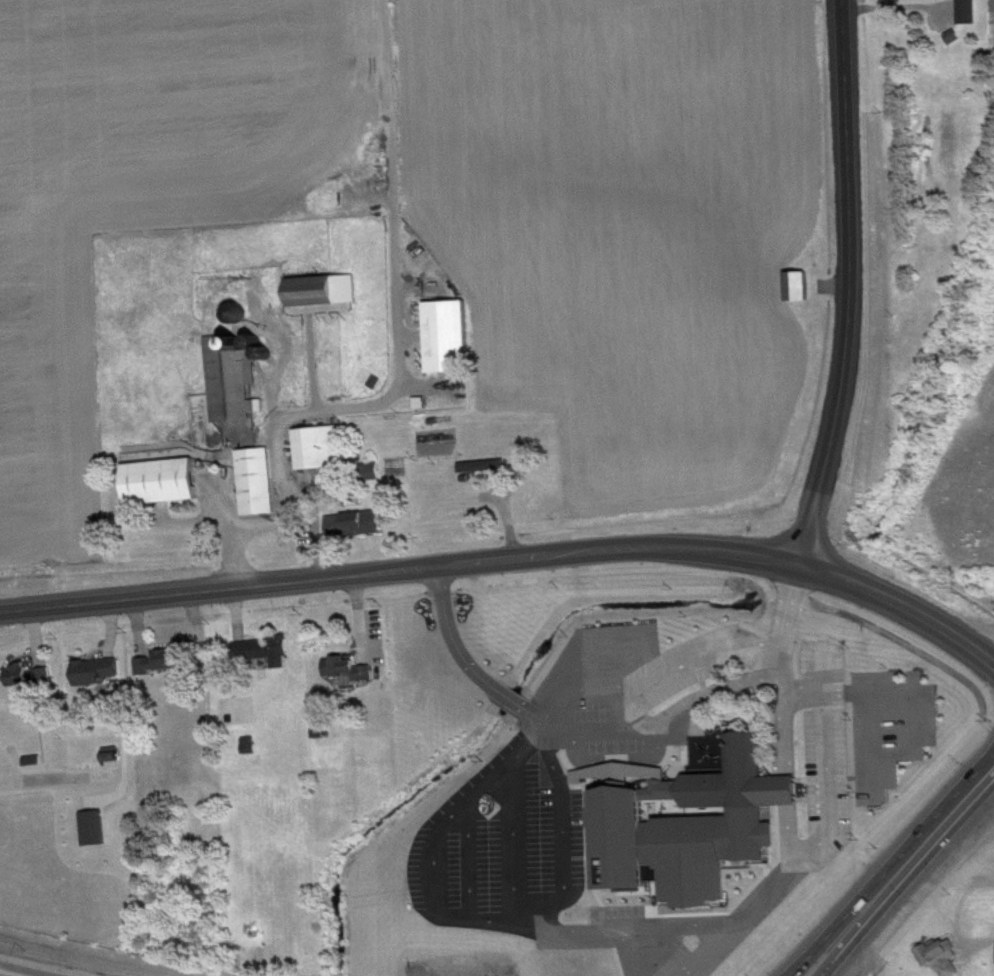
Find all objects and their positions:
building: (972, 13)
road: (853, 283)
building: (803, 288)
building: (328, 292)
building: (452, 339)
road: (398, 363)
building: (236, 381)
building: (324, 450)
building: (487, 468)
building: (165, 483)
building: (260, 484)
building: (358, 526)
road: (400, 569)
road: (902, 597)
road: (796, 606)
road: (450, 642)
building: (268, 653)
road: (712, 657)
building: (164, 664)
building: (352, 671)
building: (100, 673)
building: (32, 678)
road: (512, 700)
road: (535, 711)
road: (554, 732)
building: (254, 748)
road: (830, 755)
road: (964, 796)
building: (691, 825)
building: (98, 830)
road: (870, 886)
road: (879, 905)
road: (956, 915)
road: (742, 922)
road: (657, 930)
building: (946, 959)
road: (801, 963)
road: (28, 968)

